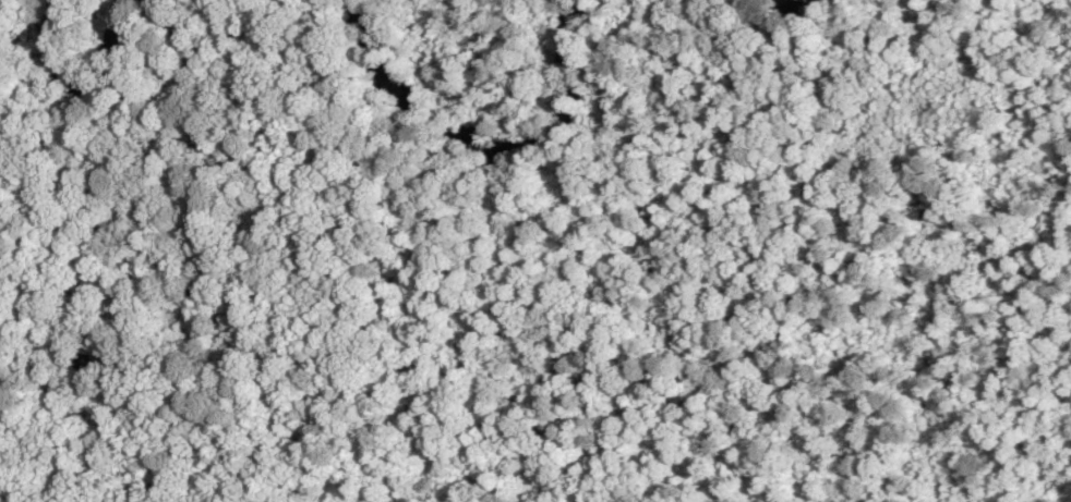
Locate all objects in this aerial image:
river: (775, 2)
river: (94, 83)
river: (483, 151)

